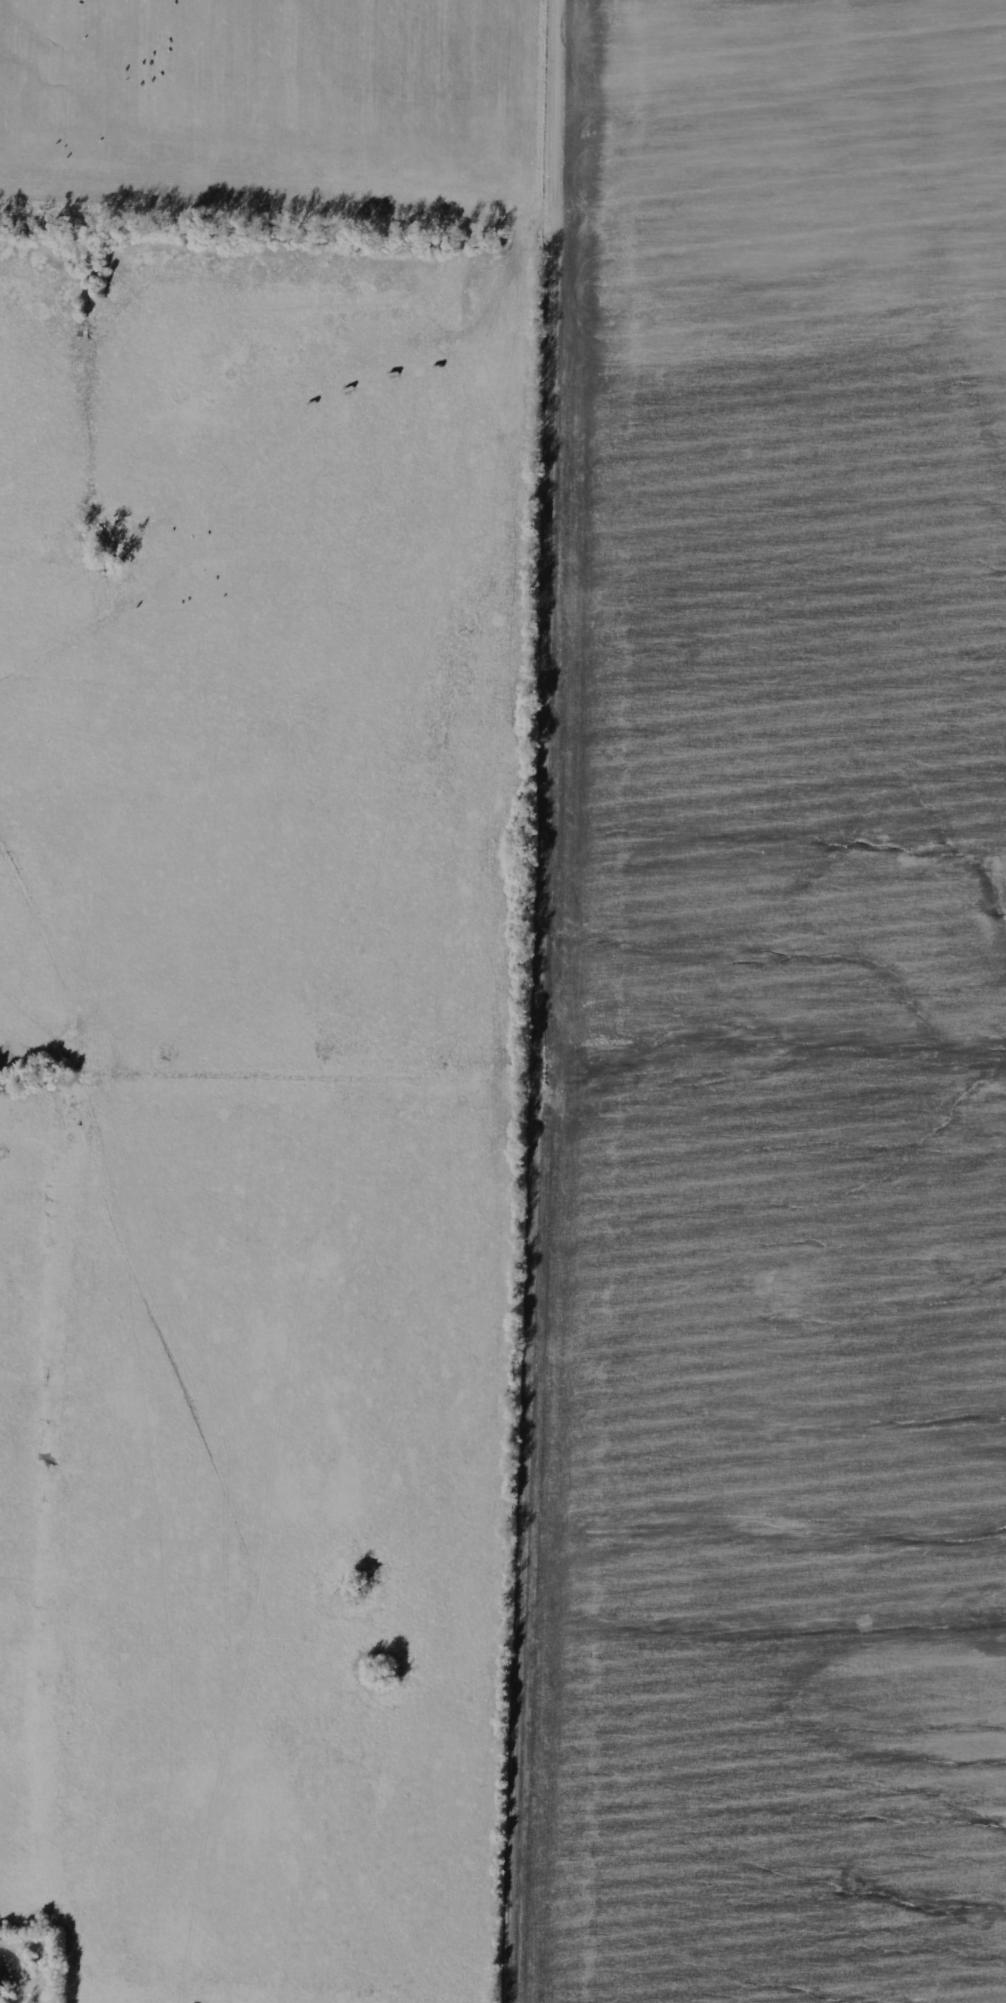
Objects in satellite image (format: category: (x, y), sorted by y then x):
road: (530, 1001)

